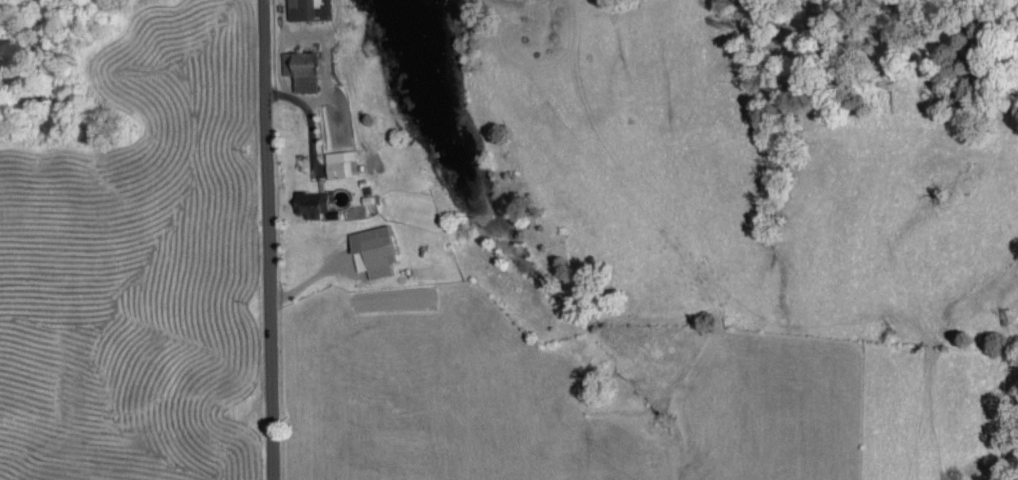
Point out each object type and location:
building: (308, 8)
building: (299, 67)
building: (340, 161)
building: (309, 201)
road: (265, 240)
building: (371, 247)

